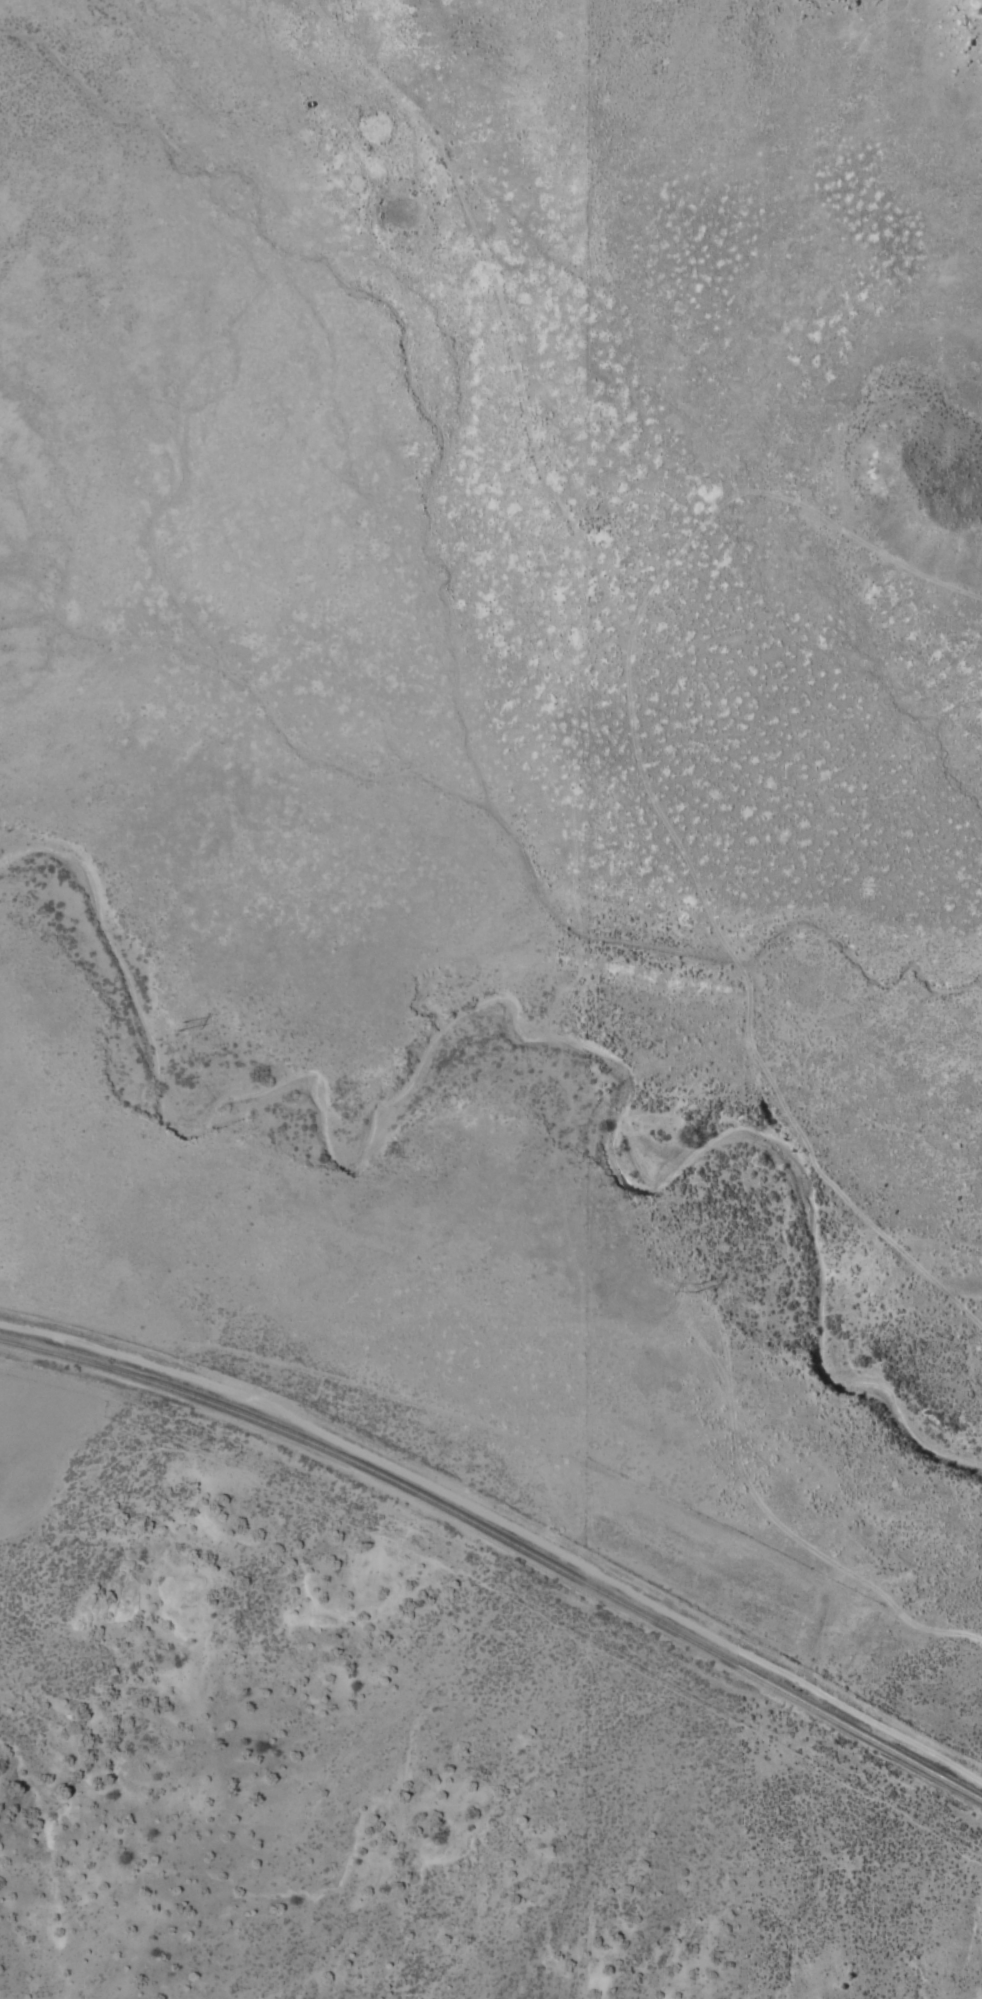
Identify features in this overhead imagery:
road: (294, 26)
road: (585, 242)
road: (899, 564)
road: (503, 1434)
railway: (504, 1541)

